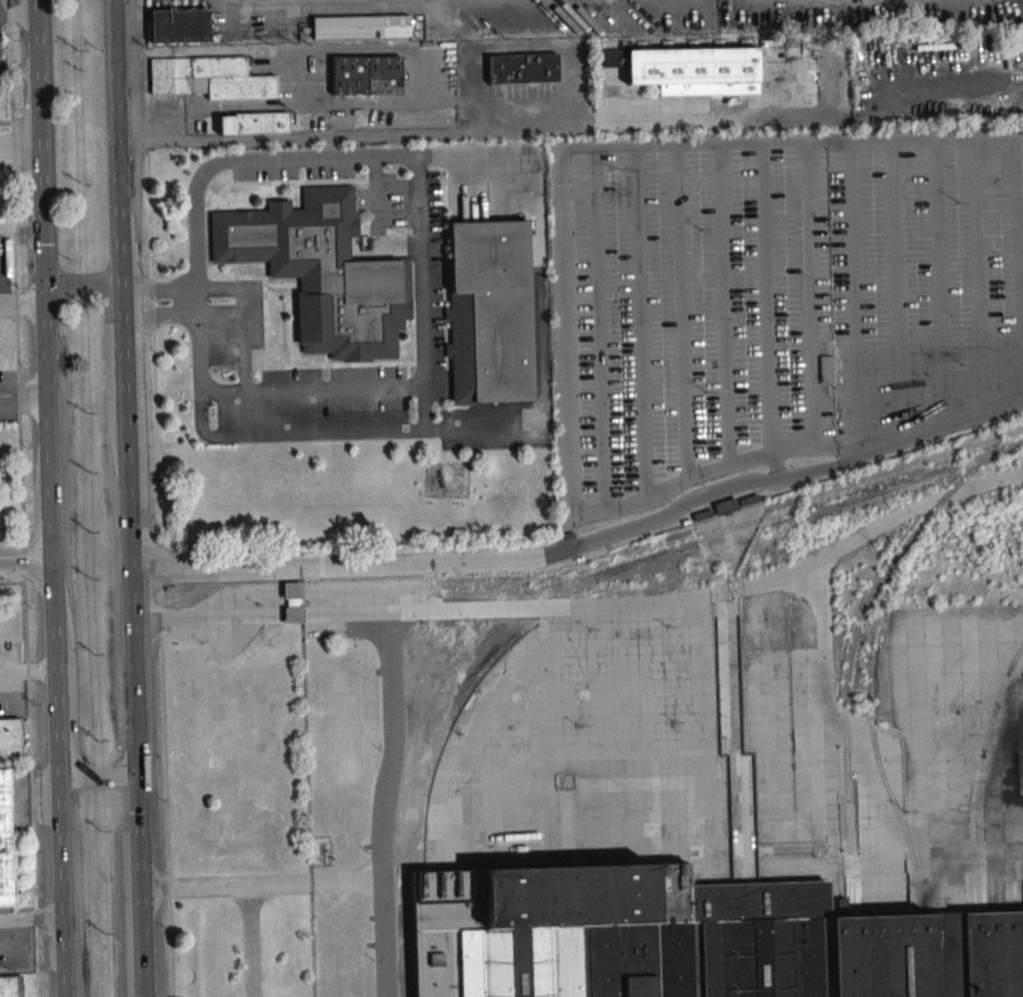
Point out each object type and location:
road: (255, 0)
road: (18, 16)
building: (179, 25)
building: (361, 26)
building: (521, 68)
building: (688, 69)
road: (18, 71)
building: (365, 75)
building: (209, 78)
building: (252, 123)
road: (763, 145)
road: (20, 147)
road: (117, 162)
road: (42, 193)
road: (21, 228)
road: (420, 239)
building: (322, 272)
road: (158, 286)
road: (93, 287)
traffic signals: (45, 288)
road: (113, 292)
road: (23, 299)
road: (159, 311)
building: (489, 311)
road: (123, 366)
building: (826, 369)
road: (24, 388)
road: (24, 404)
road: (540, 418)
railway: (1021, 439)
road: (156, 498)
road: (11, 529)
road: (25, 556)
road: (450, 562)
railway: (616, 564)
railway: (629, 564)
road: (23, 568)
railway: (861, 614)
road: (393, 618)
railway: (482, 639)
railway: (475, 670)
road: (26, 671)
road: (53, 692)
road: (130, 702)
railway: (995, 704)
building: (10, 740)
railway: (985, 751)
road: (84, 773)
traffic signals: (133, 774)
railway: (885, 786)
building: (5, 842)
road: (260, 884)
railway: (851, 898)
road: (30, 919)
road: (384, 939)
building: (688, 939)
building: (11, 986)

